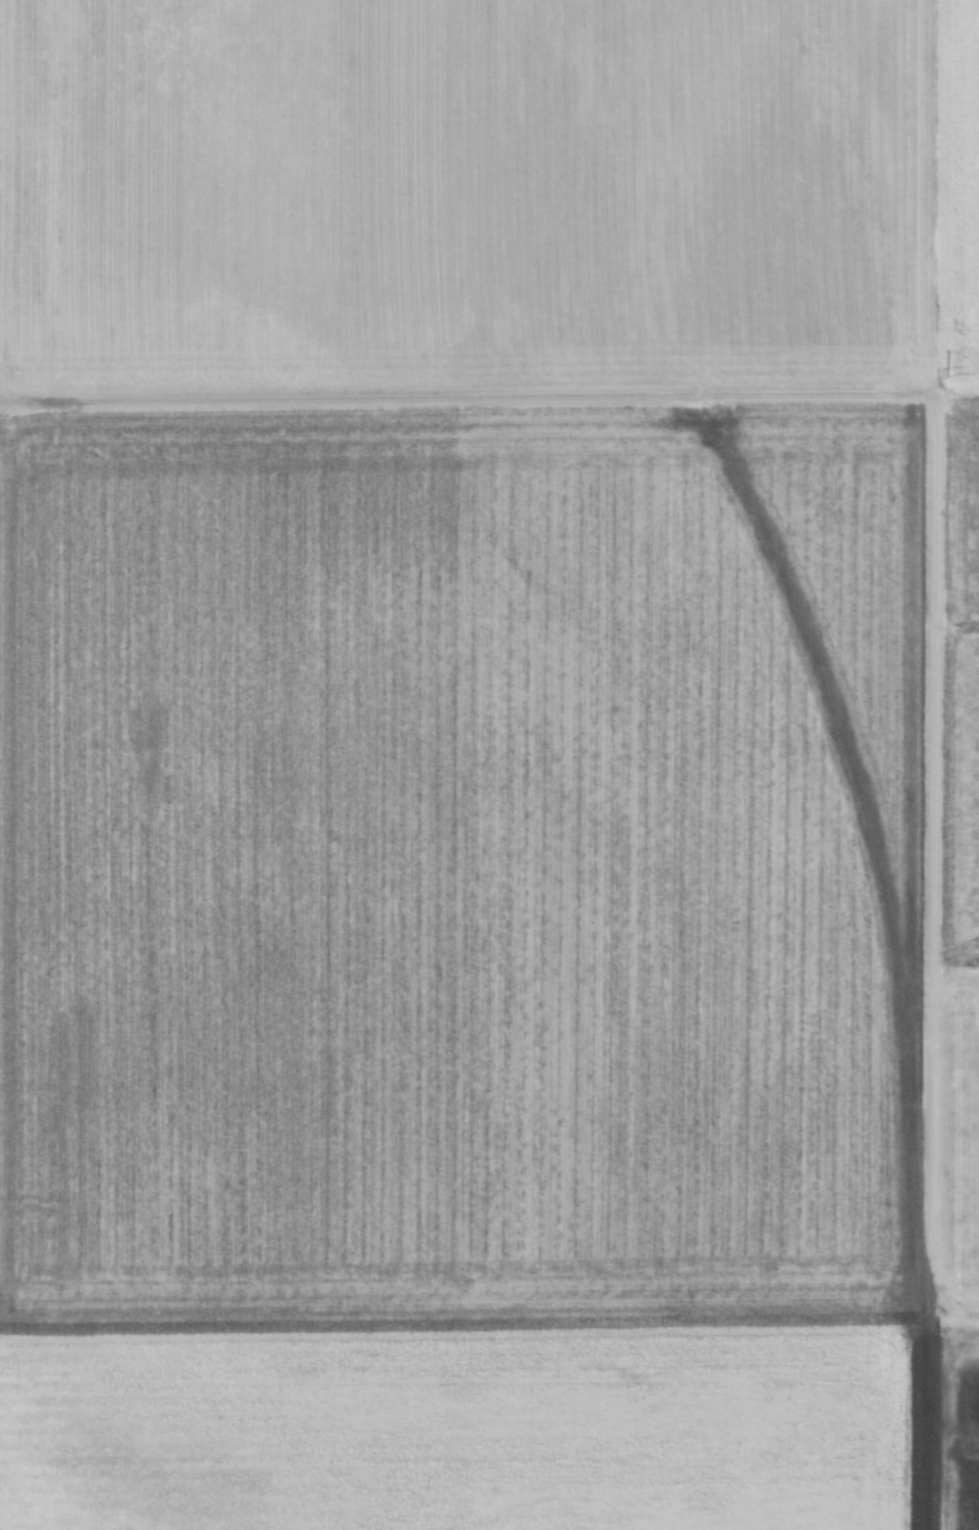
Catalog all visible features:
road: (466, 401)

